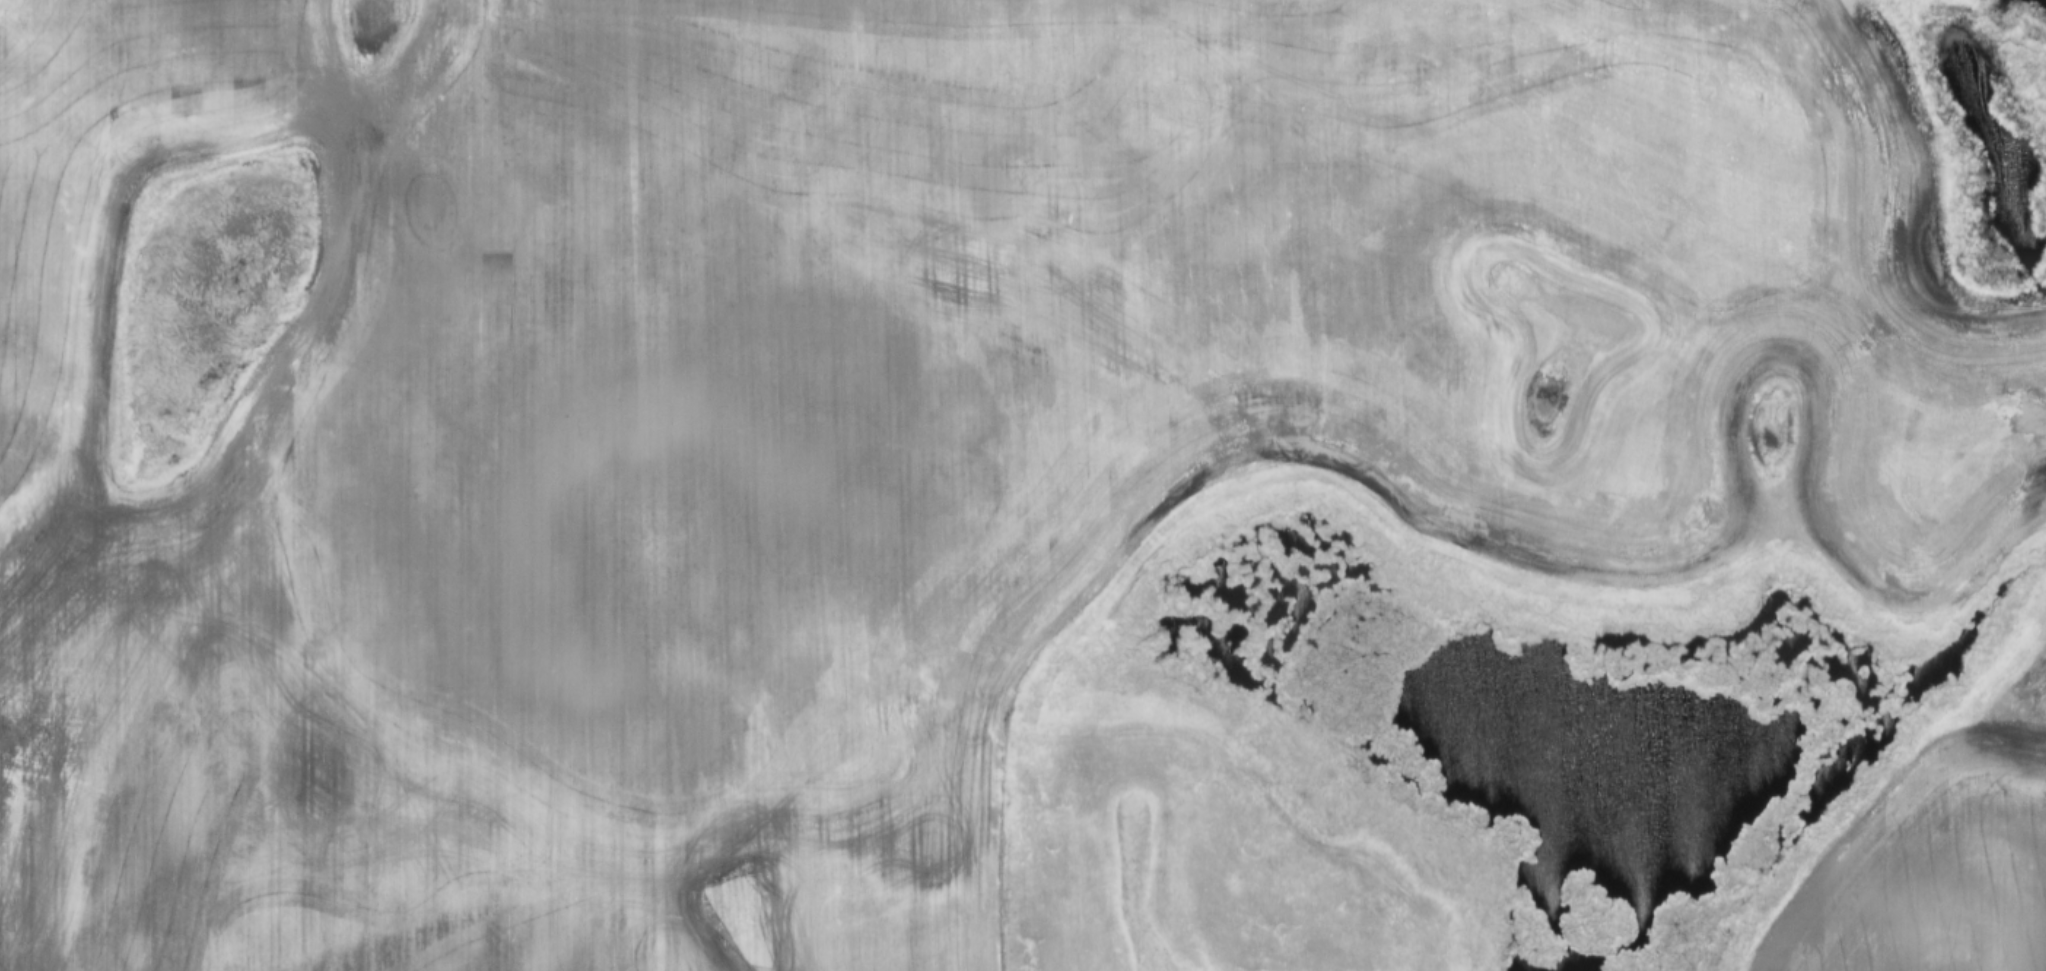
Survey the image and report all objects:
road: (1970, 29)

